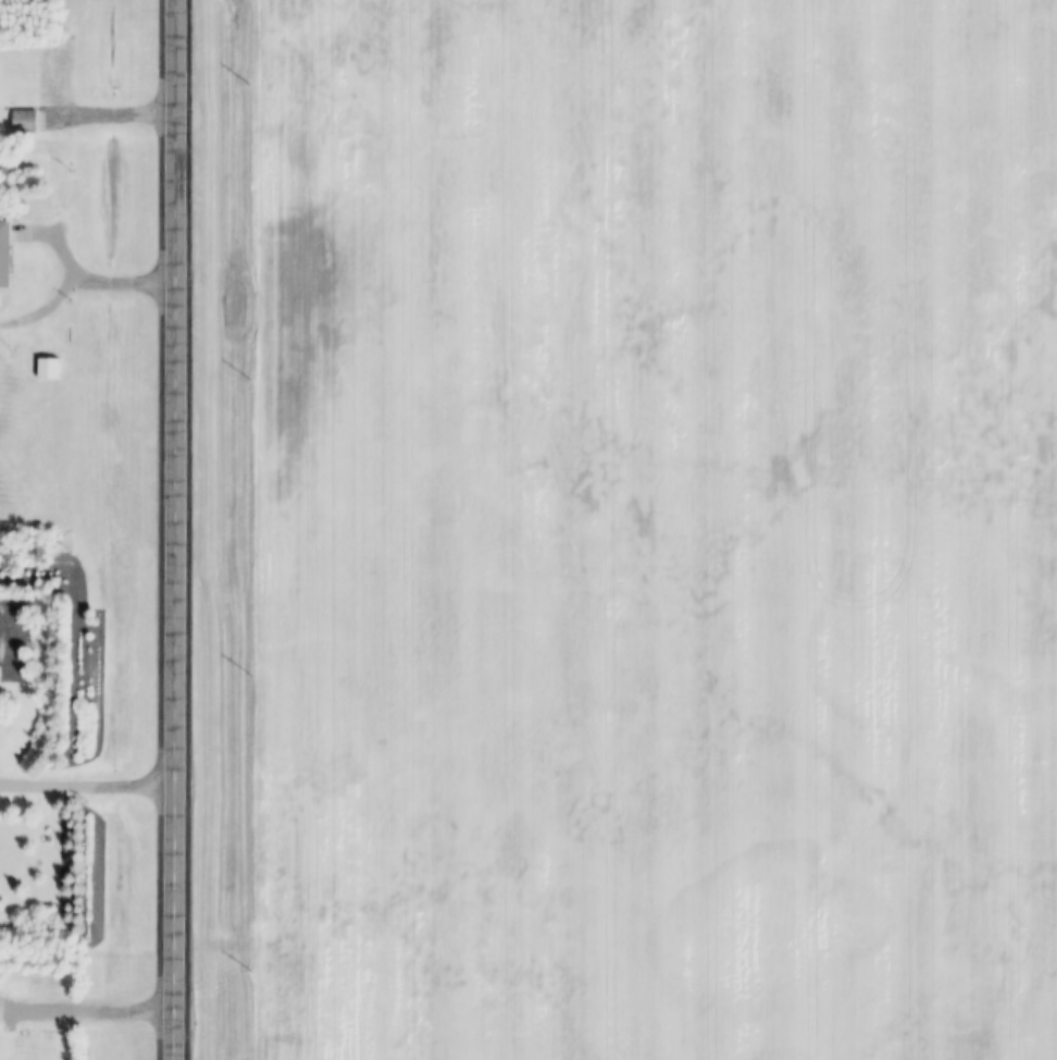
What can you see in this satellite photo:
road: (108, 115)
building: (24, 123)
building: (4, 256)
road: (79, 281)
building: (49, 369)
road: (172, 530)
road: (85, 781)
road: (86, 1009)

